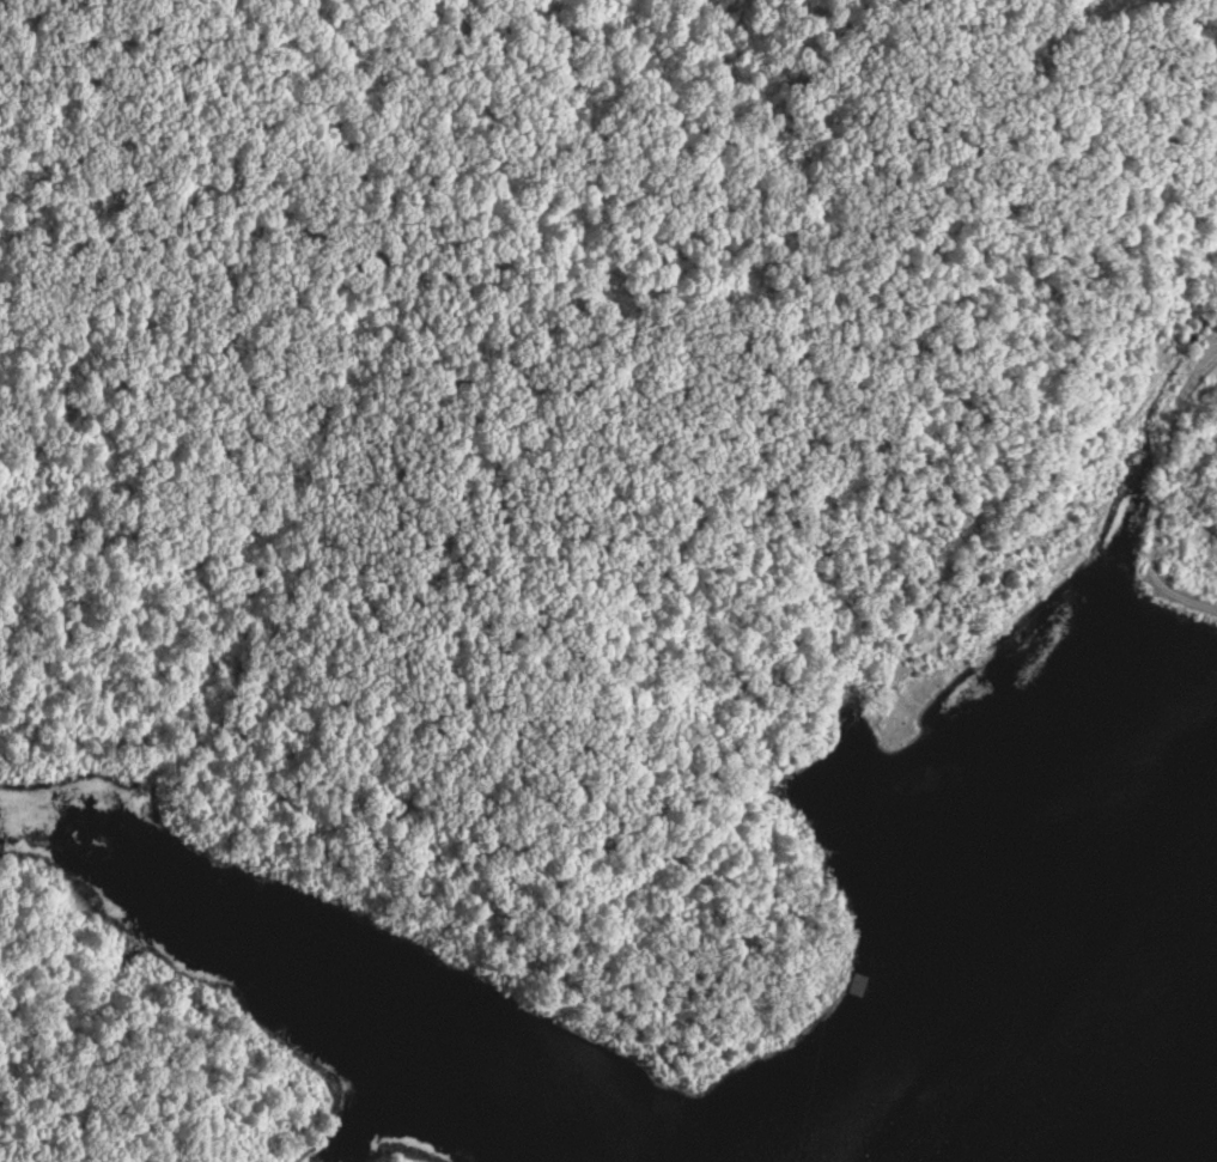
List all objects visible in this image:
dam: (1172, 607)

